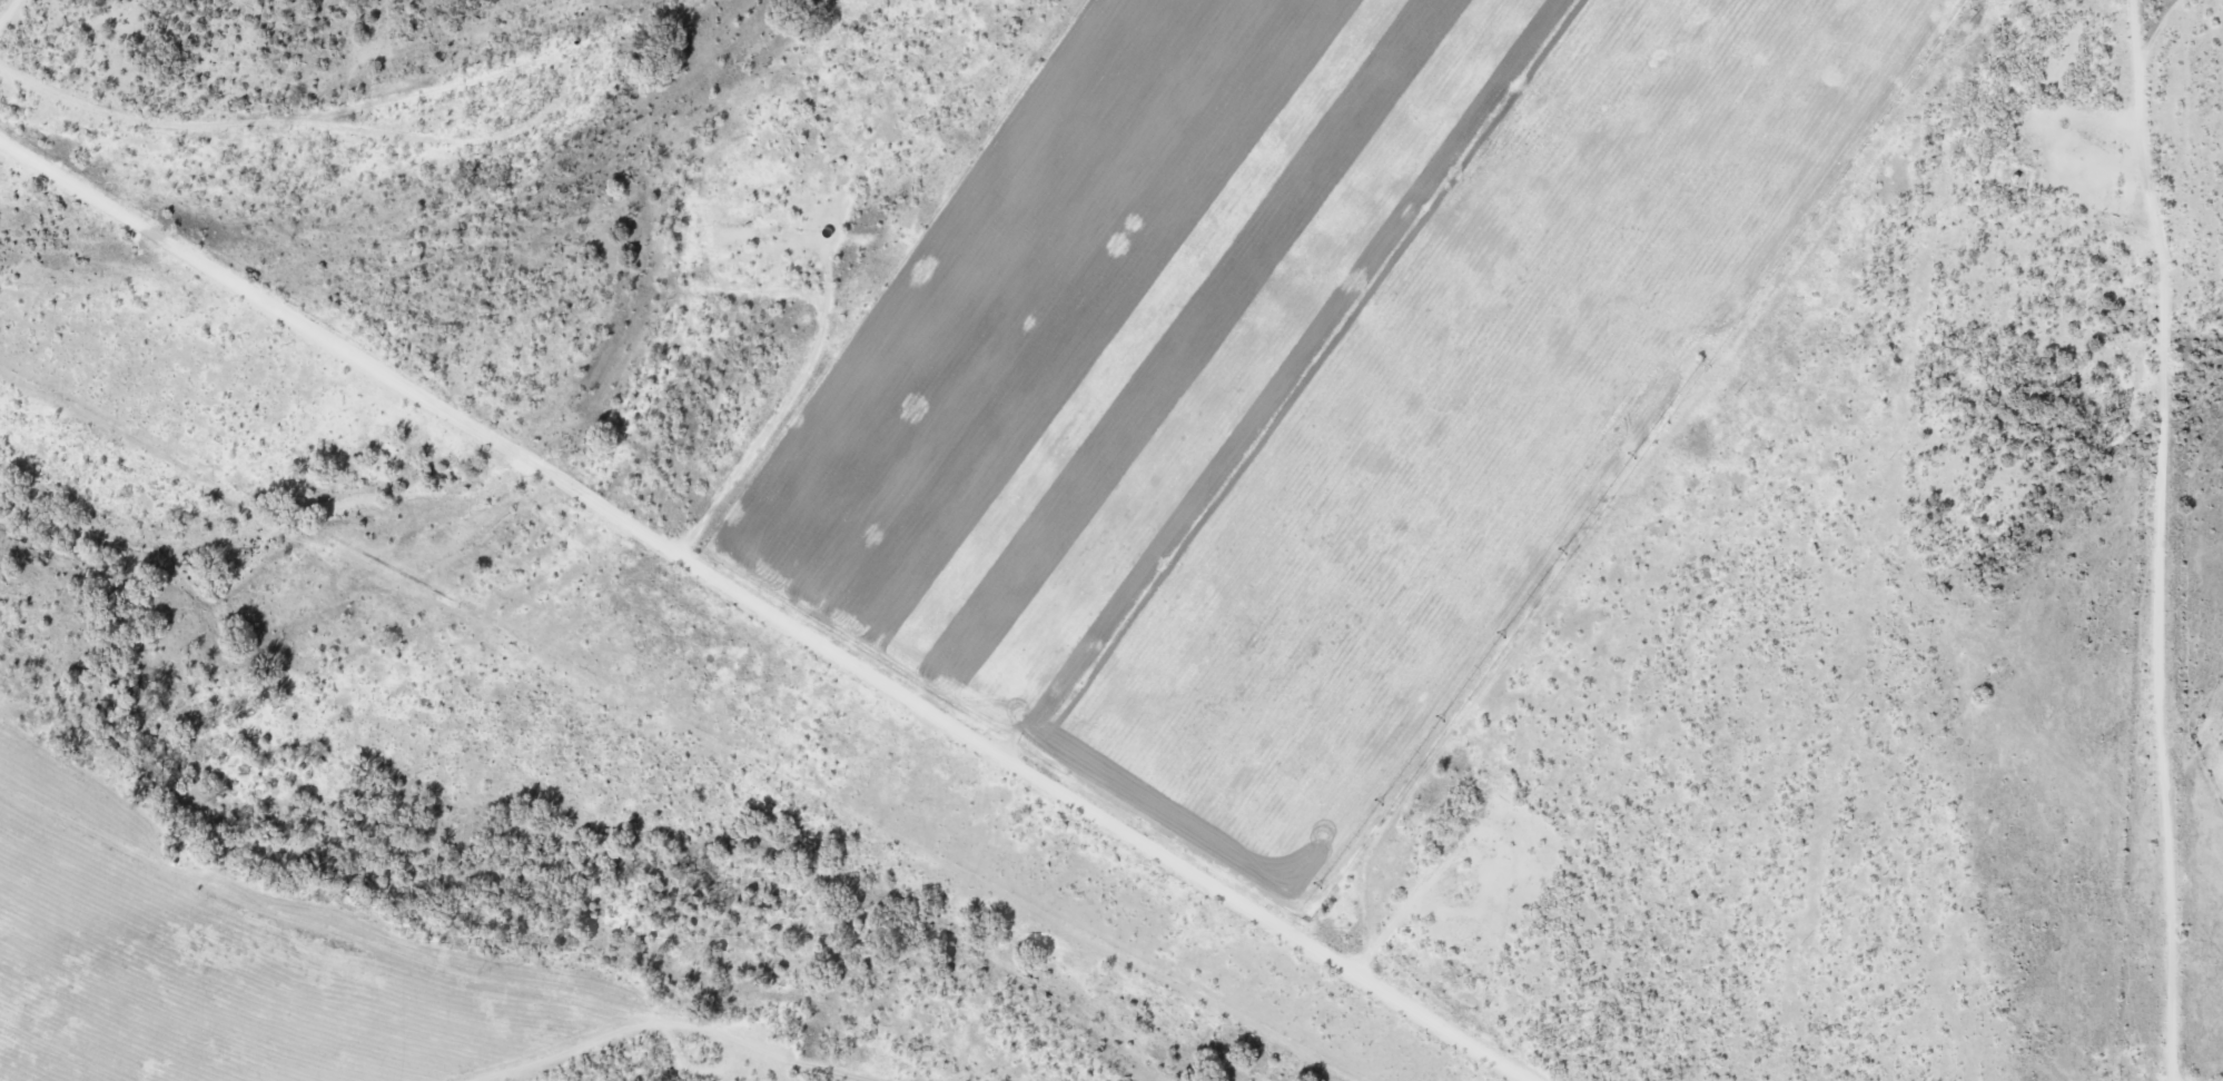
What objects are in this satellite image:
road: (6, 13)
road: (260, 122)
road: (774, 596)
road: (2191, 920)

